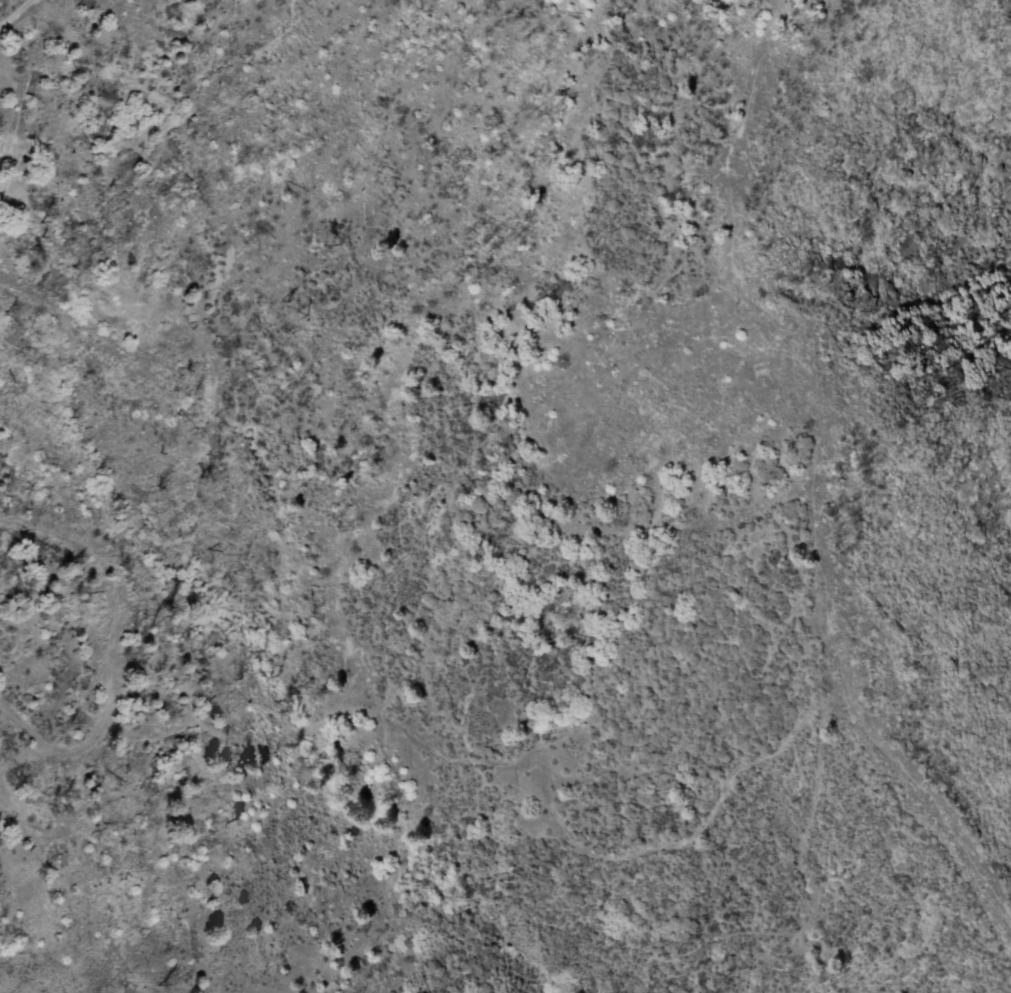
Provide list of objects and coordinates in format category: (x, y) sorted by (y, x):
road: (29, 389)
road: (70, 439)

